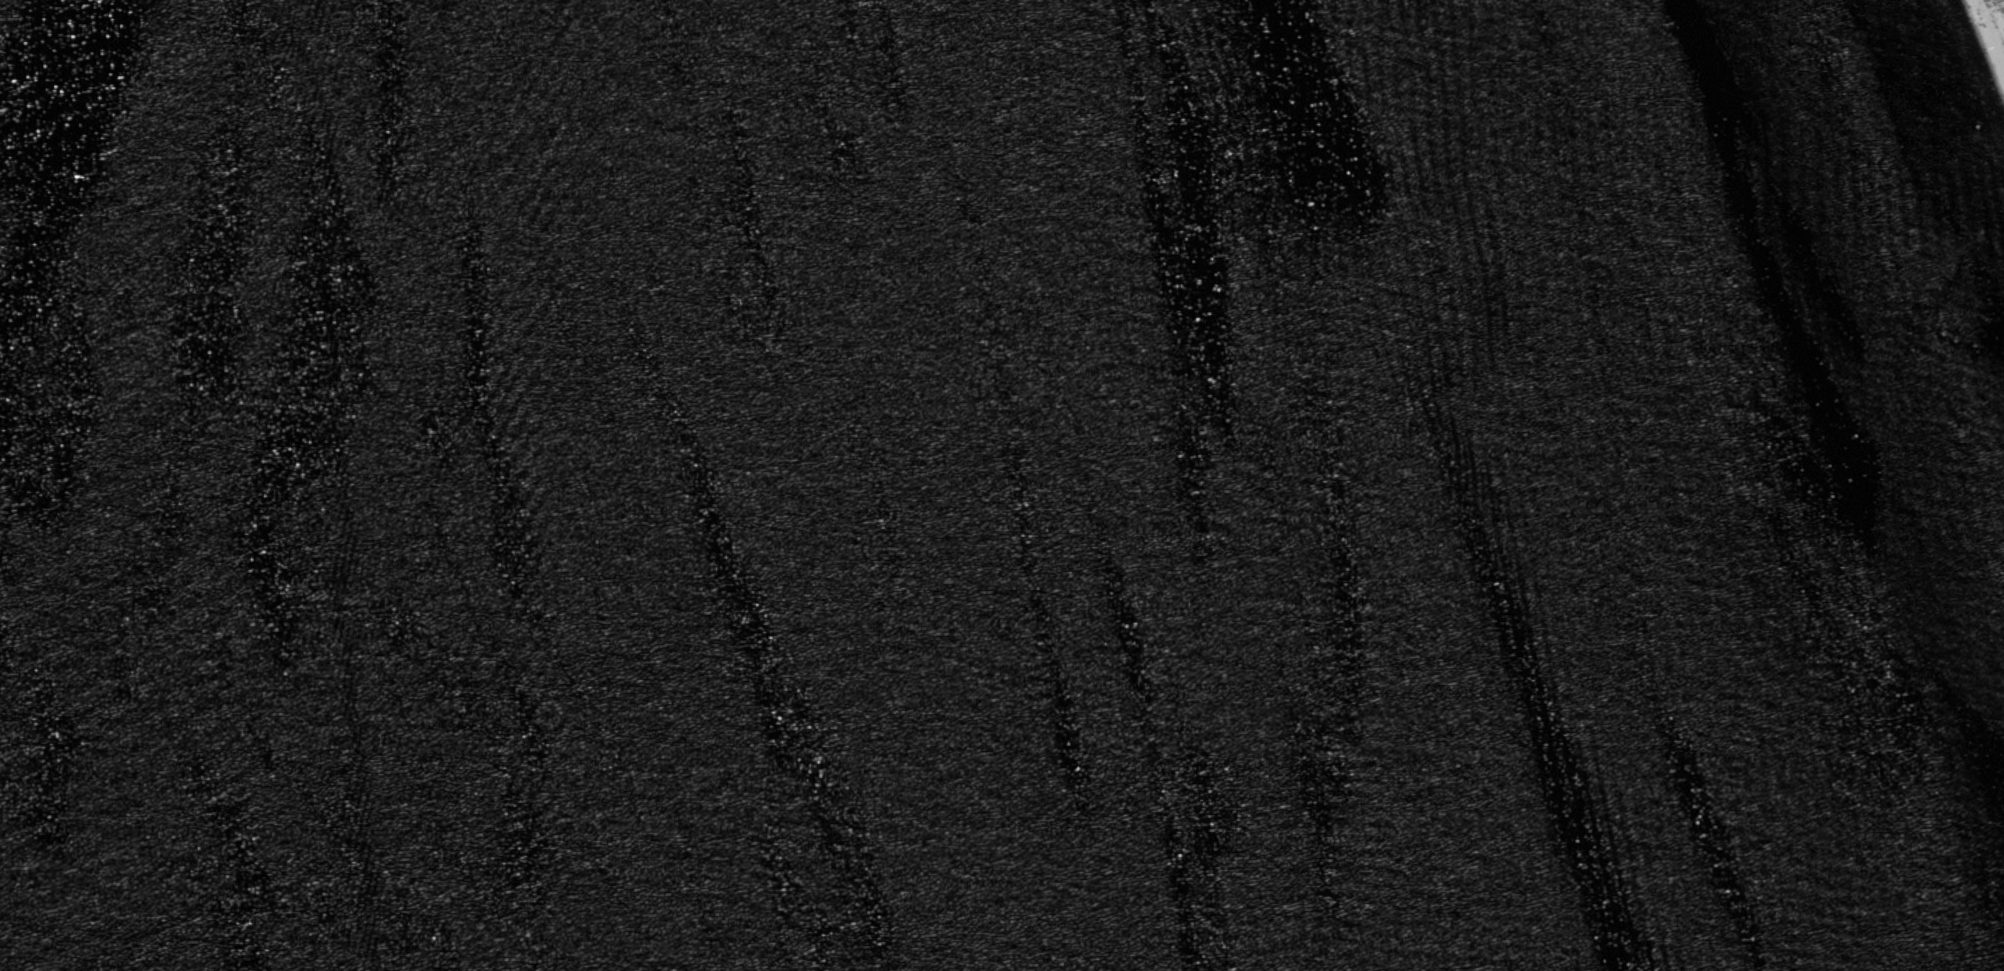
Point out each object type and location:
park: (1959, 114)

